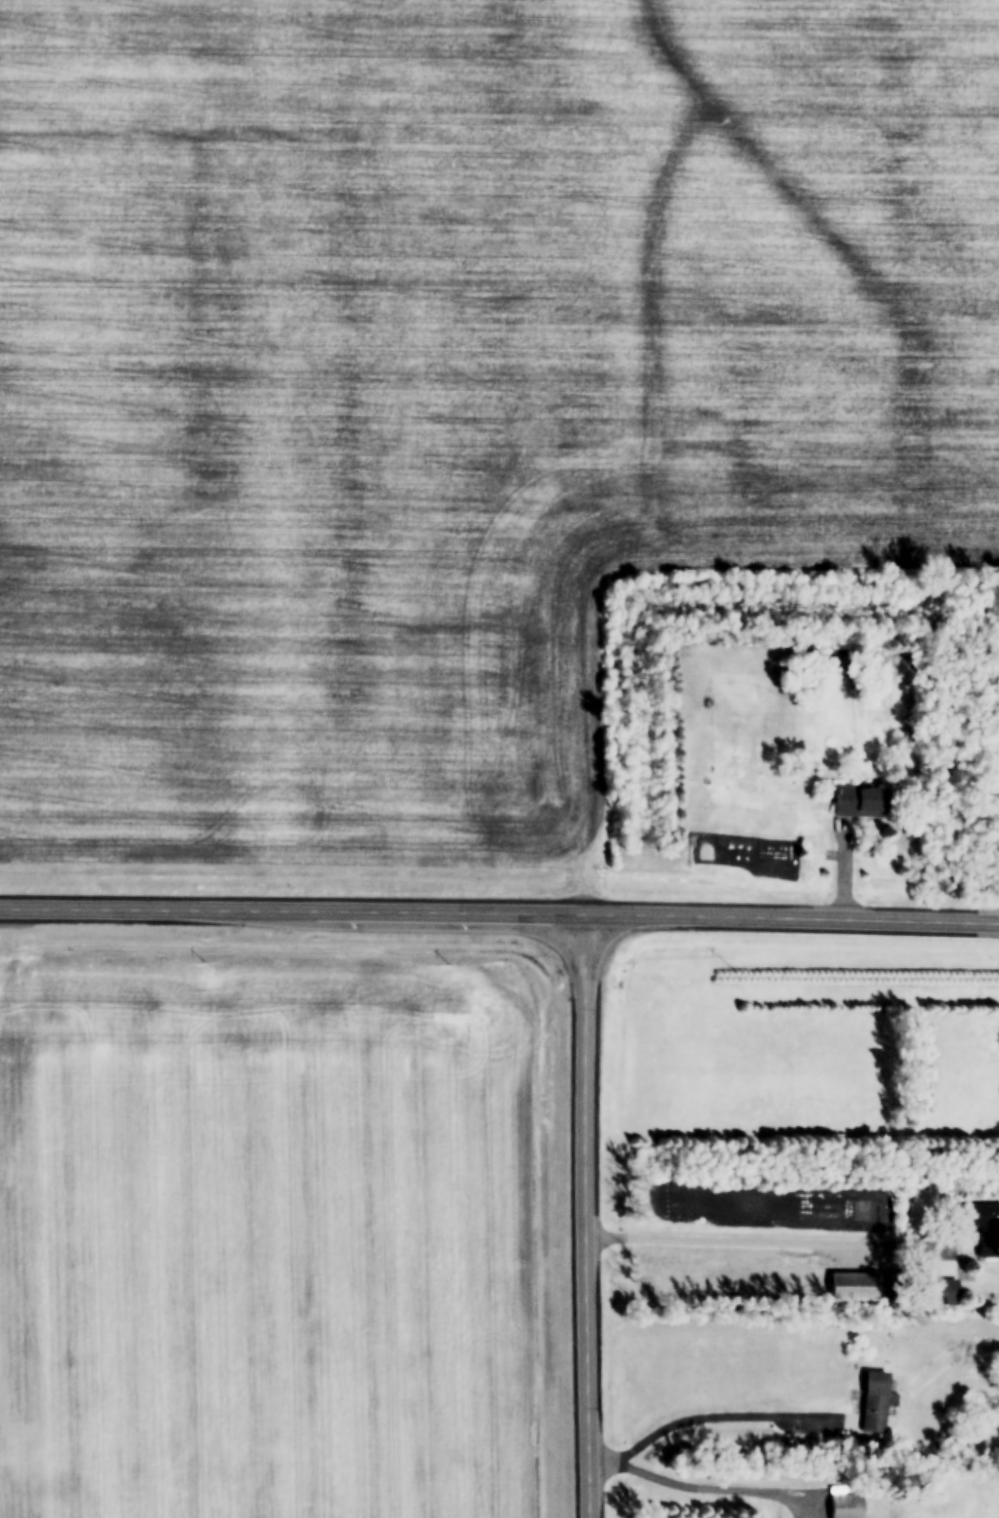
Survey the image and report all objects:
crop: (452, 386)
building: (856, 798)
road: (295, 913)
road: (795, 919)
road: (590, 1217)
building: (984, 1225)
crop: (266, 1240)
road: (781, 1244)
building: (850, 1285)
building: (937, 1288)
building: (874, 1399)
road: (716, 1419)
building: (847, 1443)
road: (719, 1491)
building: (845, 1505)

